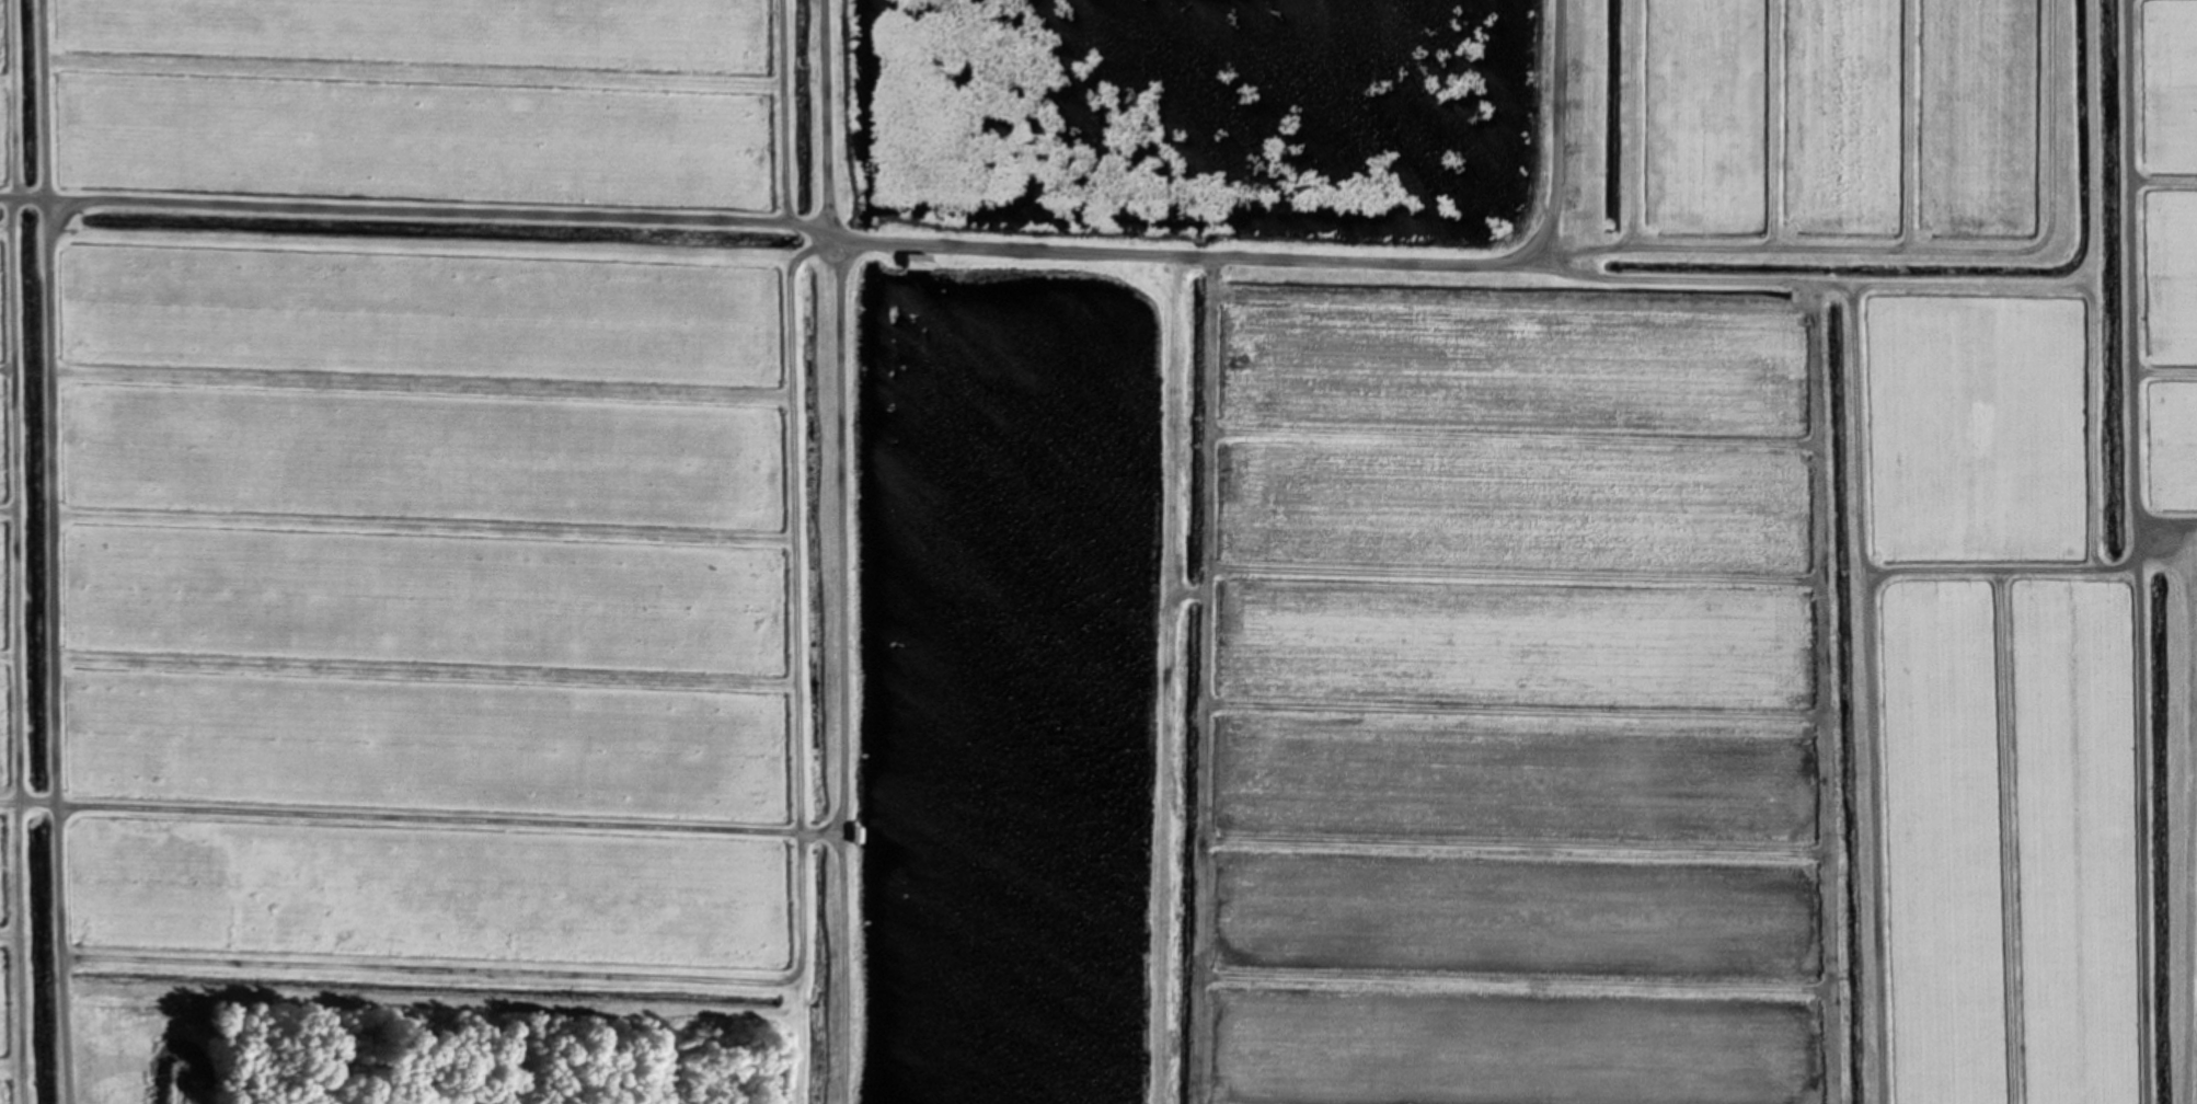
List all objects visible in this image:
building: (913, 258)
crop: (409, 514)
crop: (1725, 588)
building: (854, 833)

